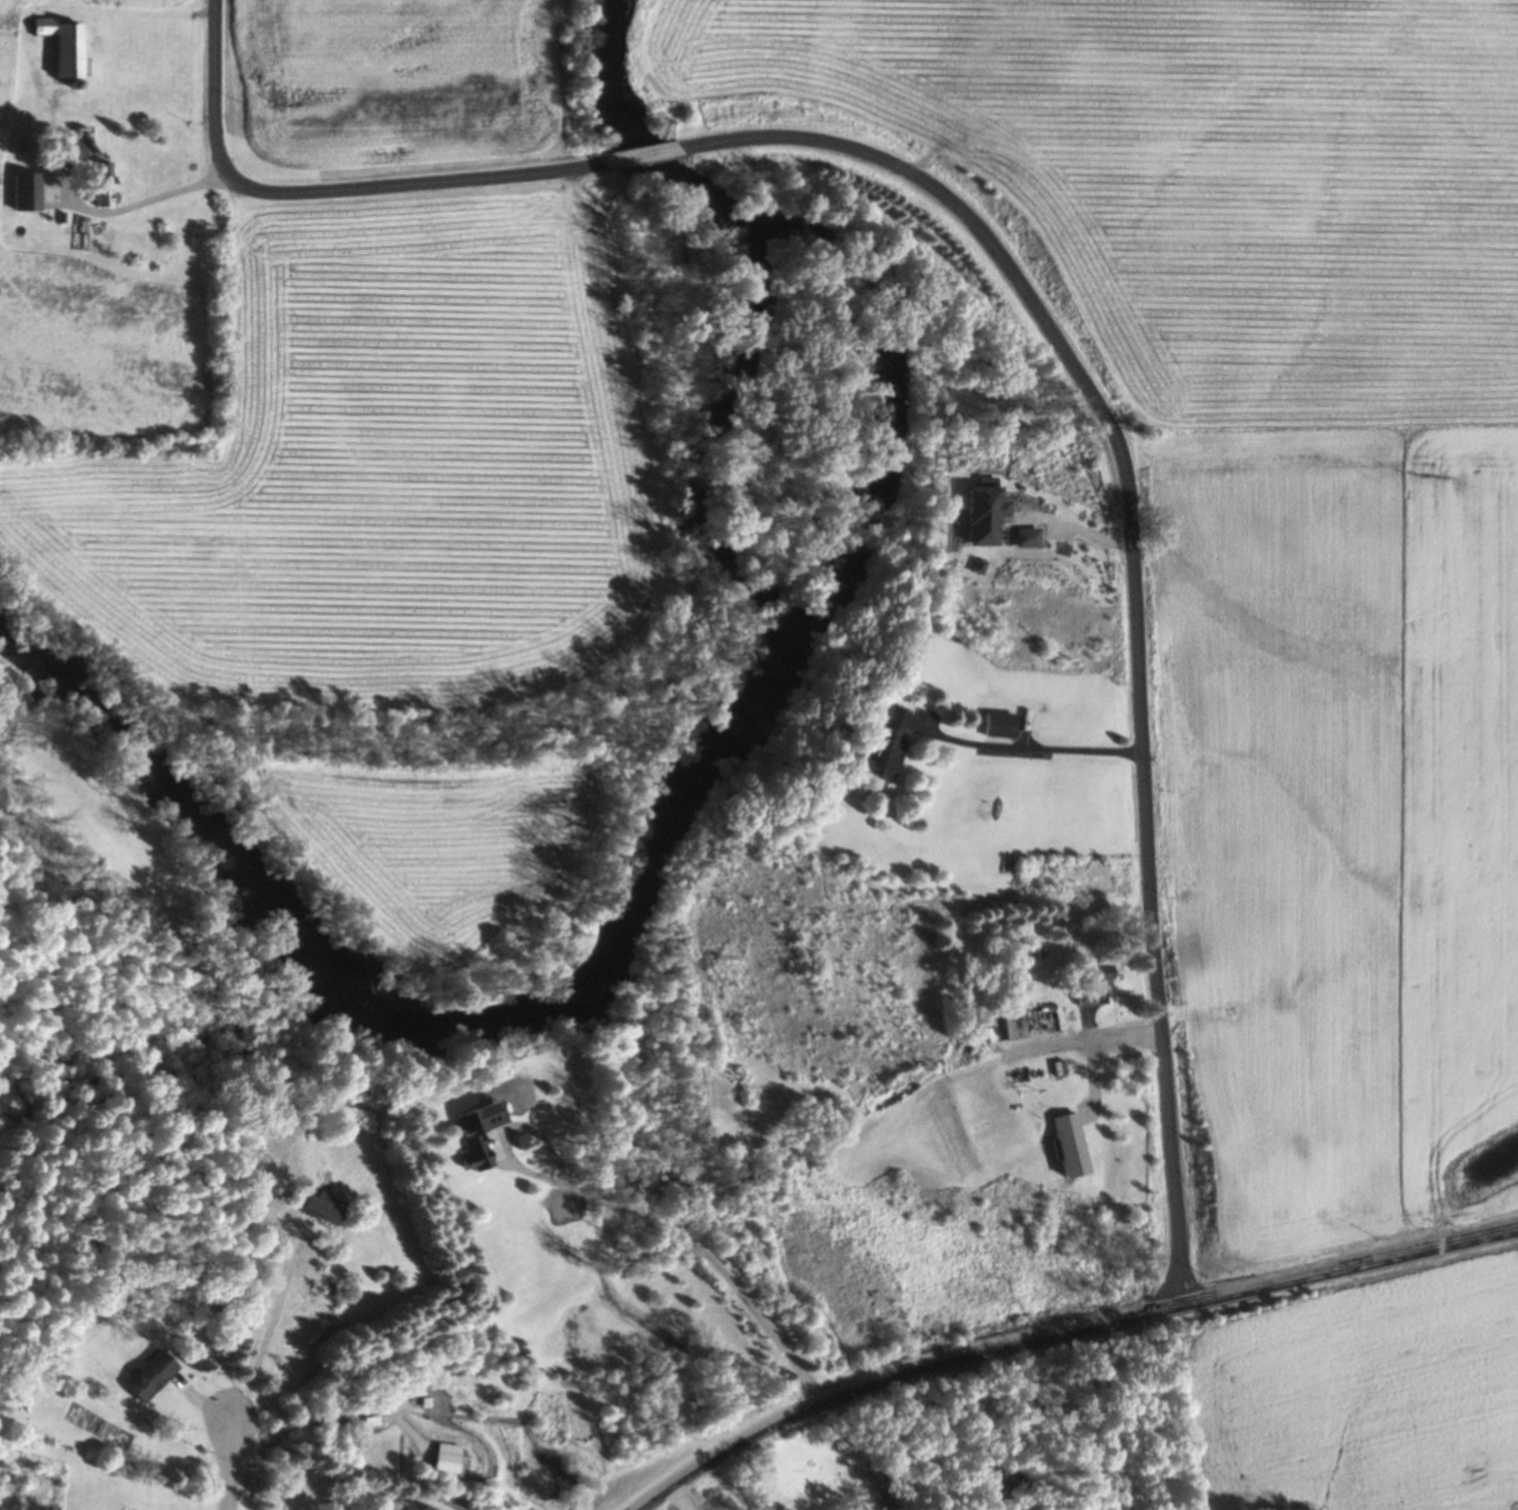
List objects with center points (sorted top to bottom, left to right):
building: (65, 45)
road: (640, 155)
building: (104, 185)
road: (327, 188)
building: (26, 192)
road: (148, 199)
building: (985, 511)
building: (1028, 537)
road: (1139, 578)
river: (763, 608)
building: (1000, 723)
building: (888, 746)
road: (1034, 746)
river: (202, 838)
building: (1096, 986)
building: (1031, 1020)
building: (479, 1132)
building: (1071, 1144)
building: (323, 1206)
road: (637, 1212)
road: (268, 1322)
road: (1062, 1331)
building: (151, 1374)
building: (450, 1457)
road: (228, 1464)
building: (1010, 1480)
building: (419, 1505)

